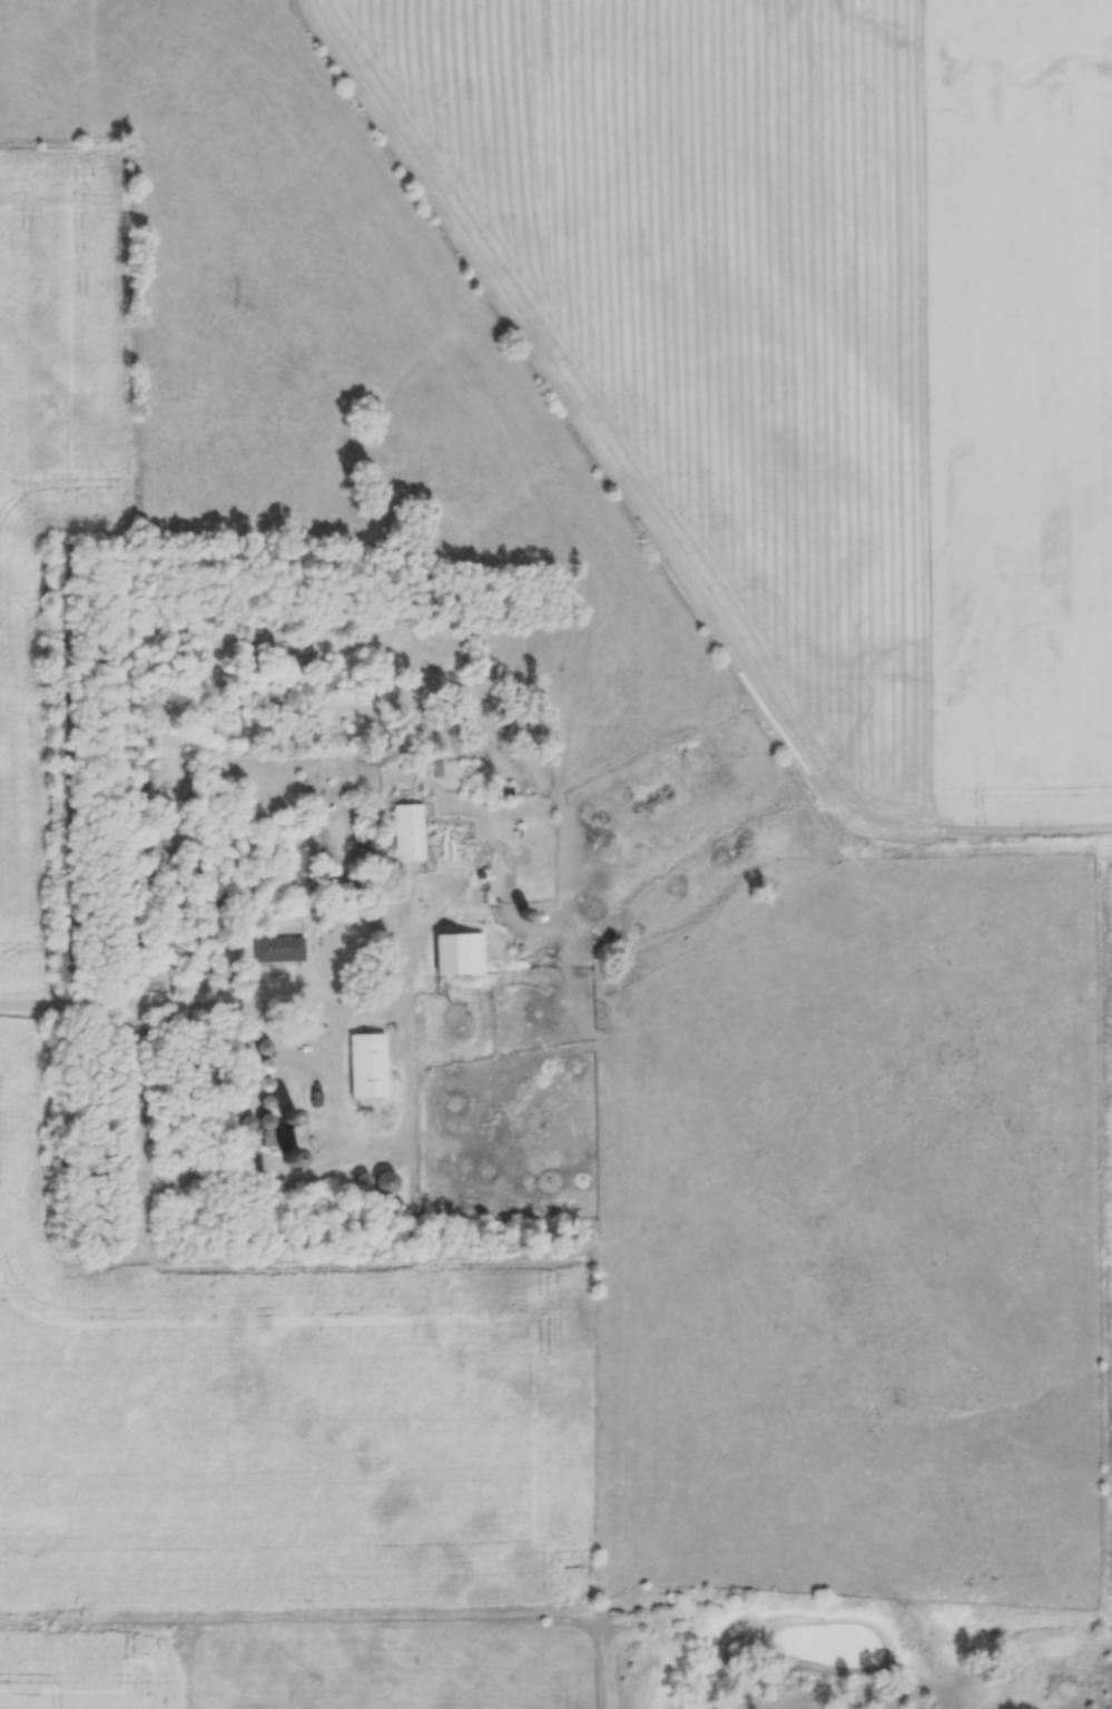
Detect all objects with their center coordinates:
building: (412, 832)
building: (281, 950)
building: (463, 953)
road: (167, 1004)
building: (372, 1064)

